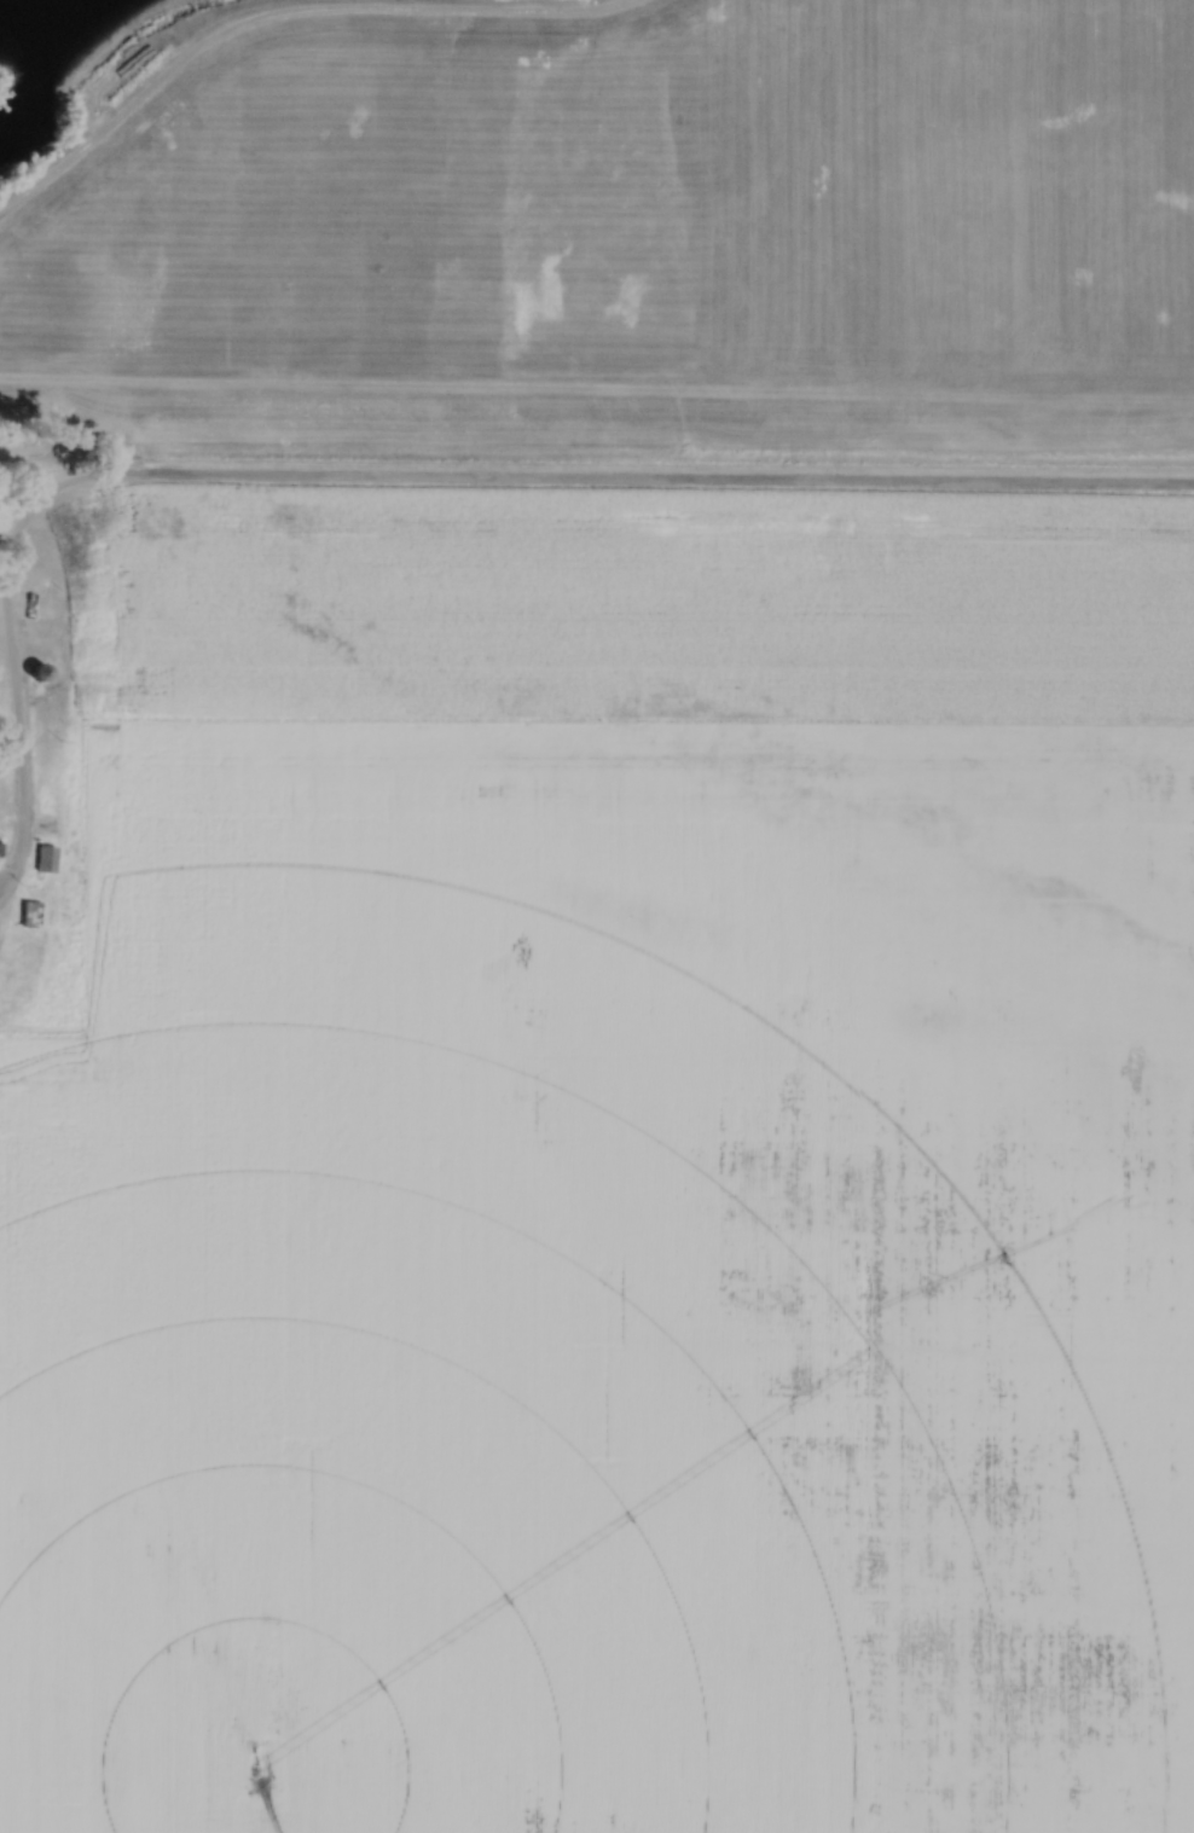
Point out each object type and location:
road: (279, 12)
road: (415, 477)
building: (39, 671)
building: (1, 848)
building: (45, 857)
building: (30, 912)
crop: (612, 1172)

